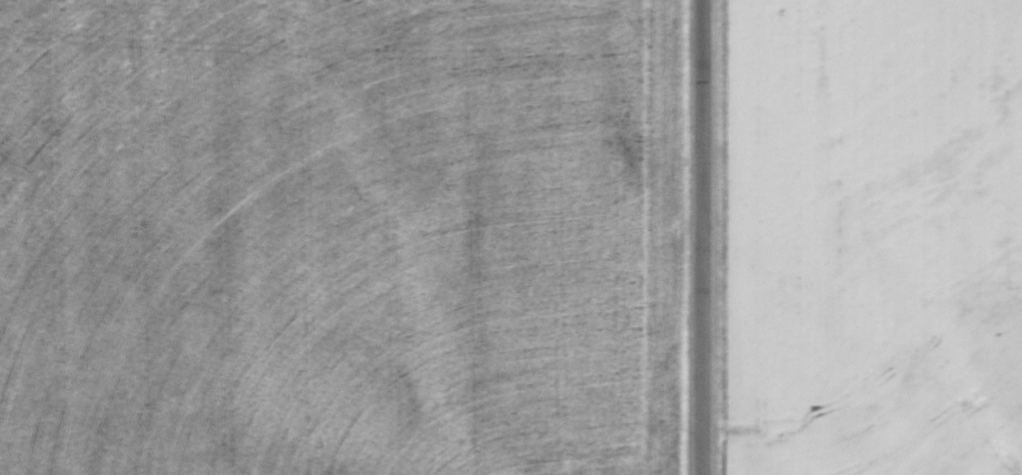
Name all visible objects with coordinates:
road: (703, 237)

